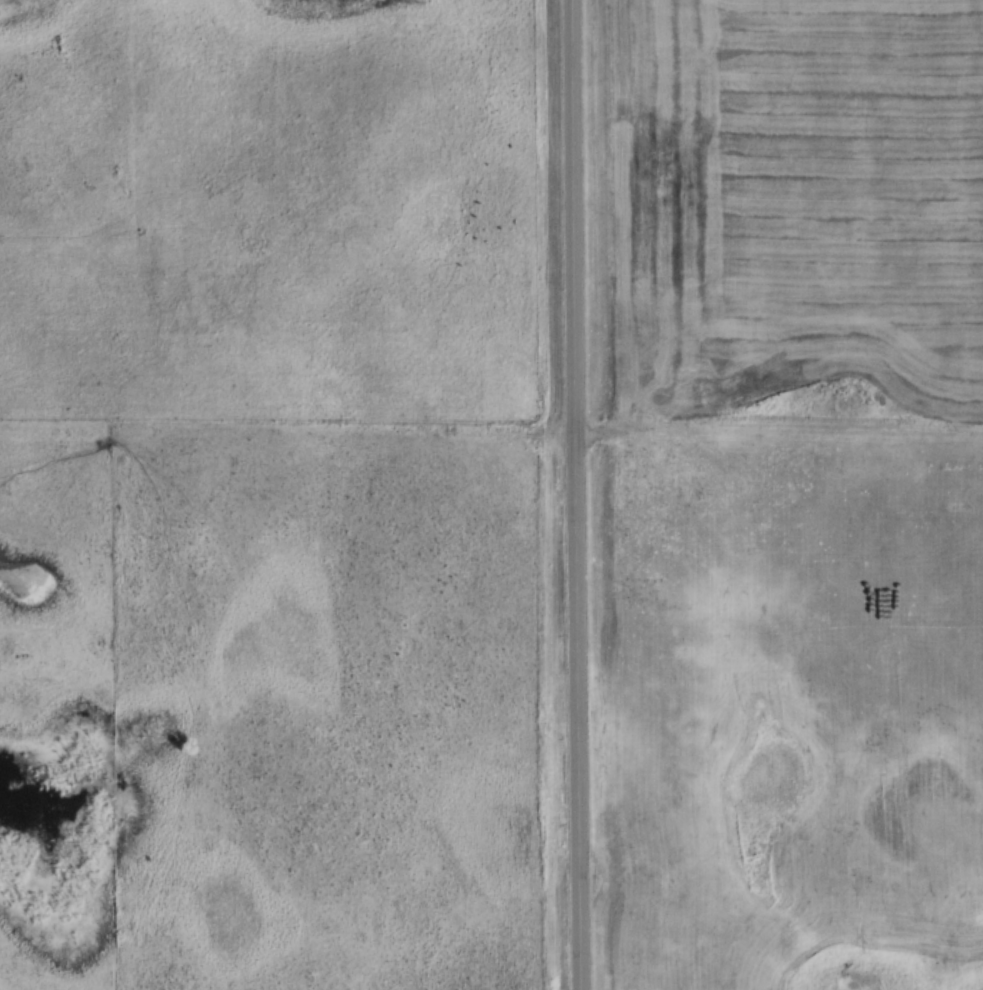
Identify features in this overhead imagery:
road: (585, 495)

